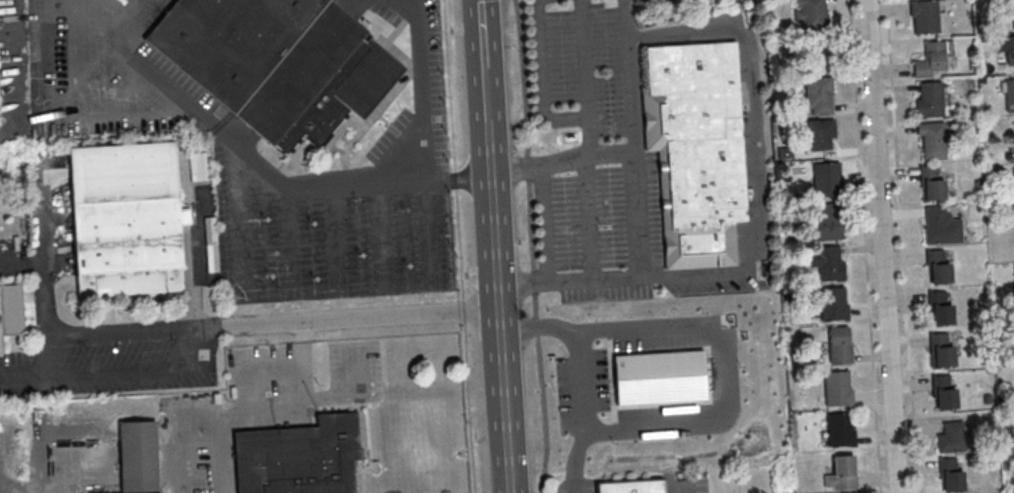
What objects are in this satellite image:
road: (86, 10)
road: (65, 12)
building: (1012, 14)
building: (809, 16)
building: (923, 17)
road: (484, 34)
building: (1007, 52)
building: (819, 55)
road: (584, 57)
building: (930, 60)
building: (276, 63)
road: (153, 64)
road: (489, 94)
building: (1009, 94)
road: (632, 95)
building: (818, 97)
building: (928, 100)
road: (580, 115)
building: (820, 135)
building: (931, 141)
building: (695, 150)
road: (459, 175)
building: (1013, 176)
road: (397, 179)
building: (825, 180)
building: (931, 183)
road: (637, 193)
road: (760, 196)
building: (125, 219)
building: (827, 221)
road: (544, 223)
building: (938, 225)
road: (883, 246)
road: (532, 247)
building: (826, 263)
building: (938, 267)
building: (1013, 267)
building: (832, 304)
road: (503, 305)
building: (939, 308)
building: (11, 311)
road: (280, 321)
building: (835, 347)
building: (940, 349)
road: (726, 367)
road: (247, 369)
road: (587, 381)
building: (710, 387)
building: (837, 389)
building: (943, 391)
road: (249, 415)
building: (839, 429)
building: (951, 437)
building: (139, 456)
building: (304, 459)
building: (841, 473)
building: (951, 475)
road: (68, 479)
road: (685, 485)
building: (631, 486)

